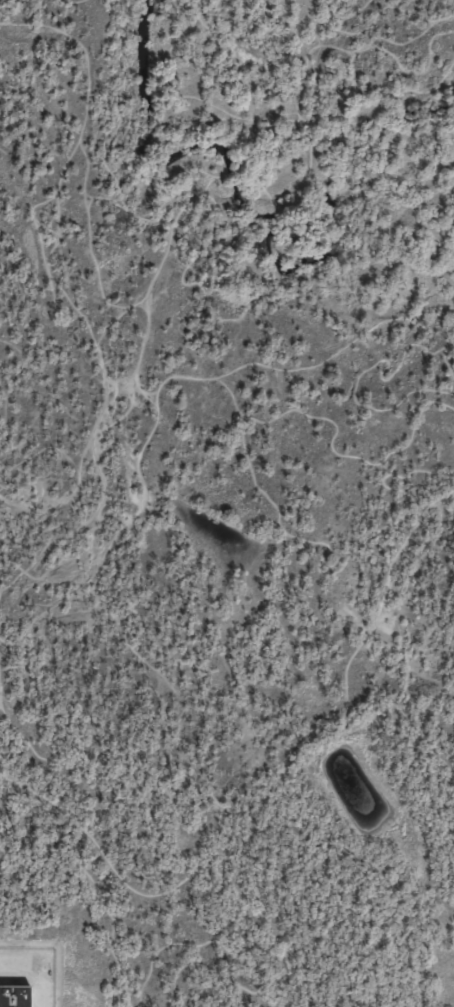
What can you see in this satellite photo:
road: (70, 7)
road: (373, 13)
road: (387, 194)
road: (98, 201)
road: (299, 271)
road: (94, 348)
road: (280, 365)
road: (15, 377)
road: (77, 486)
road: (249, 492)
road: (6, 611)
road: (411, 694)
road: (178, 699)
road: (2, 838)
road: (92, 891)
road: (256, 957)
building: (14, 996)

